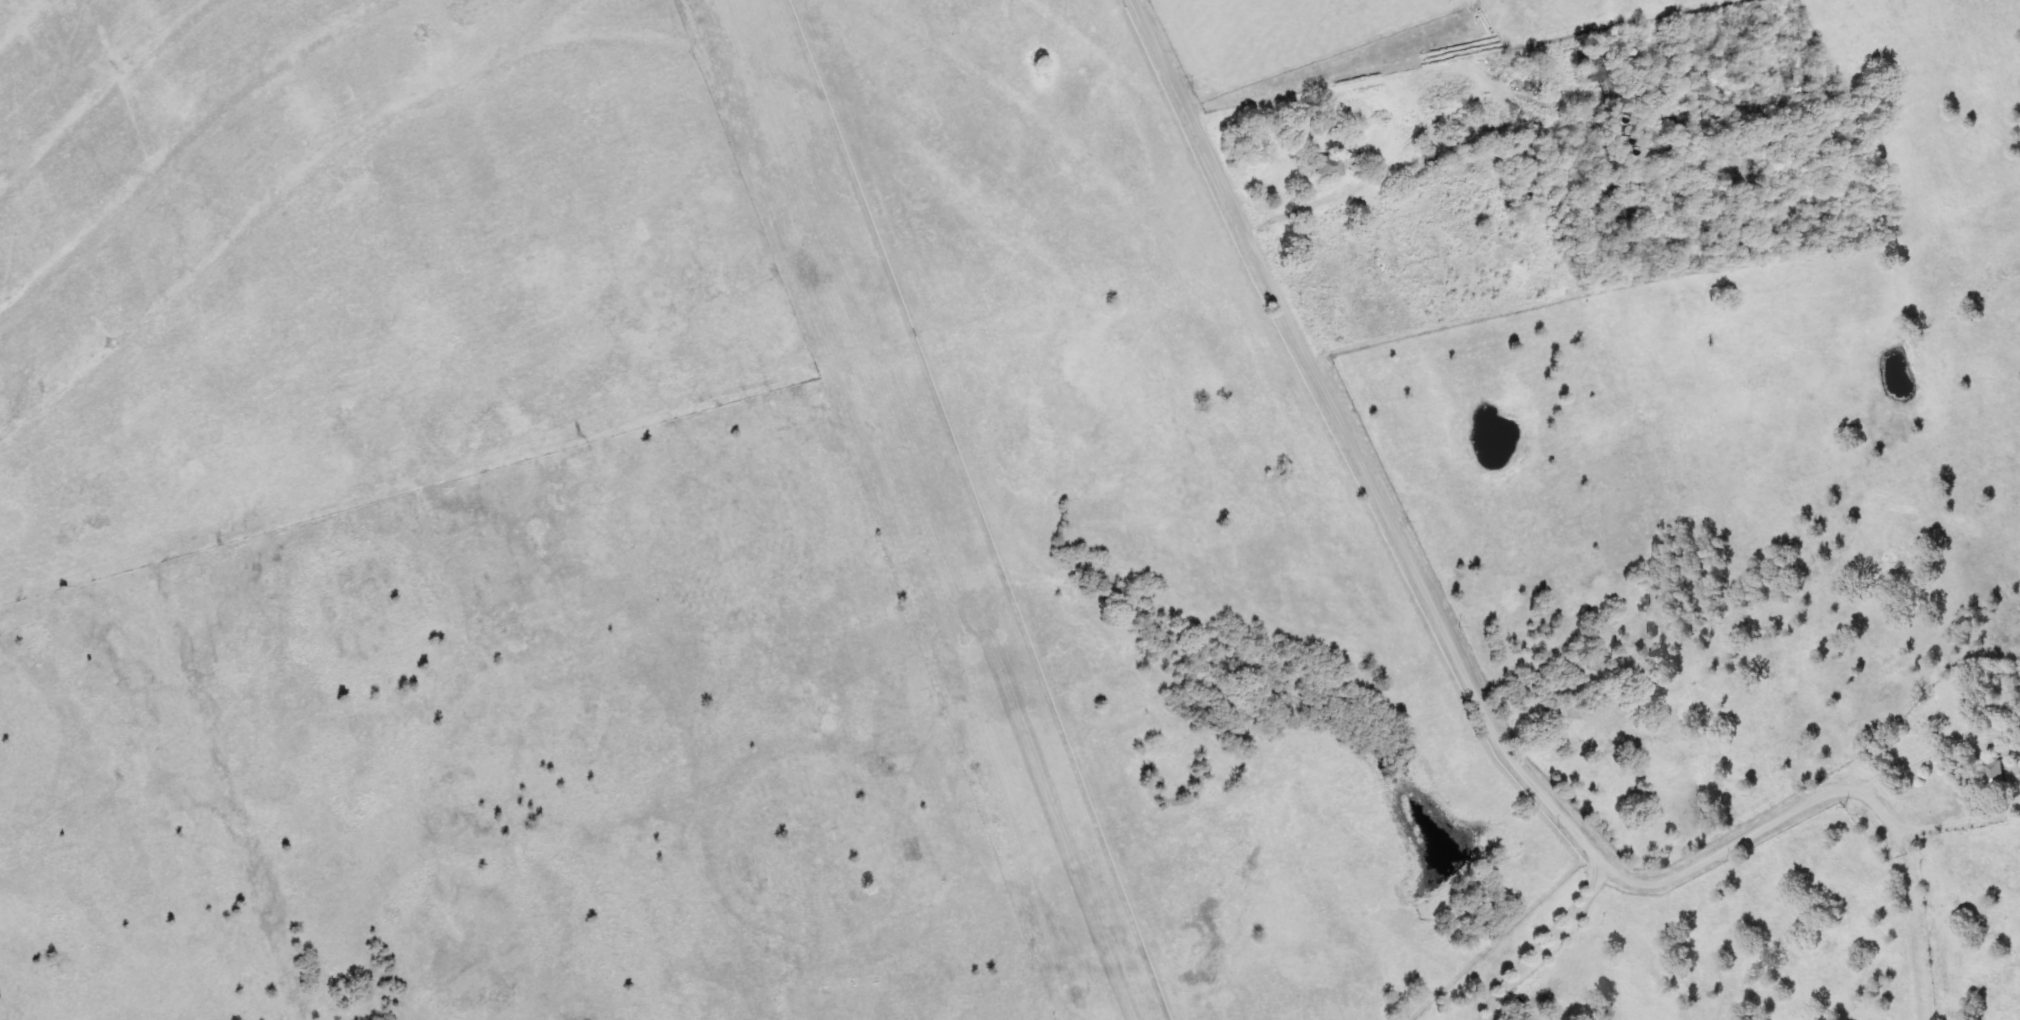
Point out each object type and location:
road: (1467, 56)
road: (1410, 94)
building: (1418, 156)
building: (1333, 163)
road: (1426, 597)
road: (2005, 728)
building: (1993, 774)
road: (1962, 819)
road: (1909, 925)

